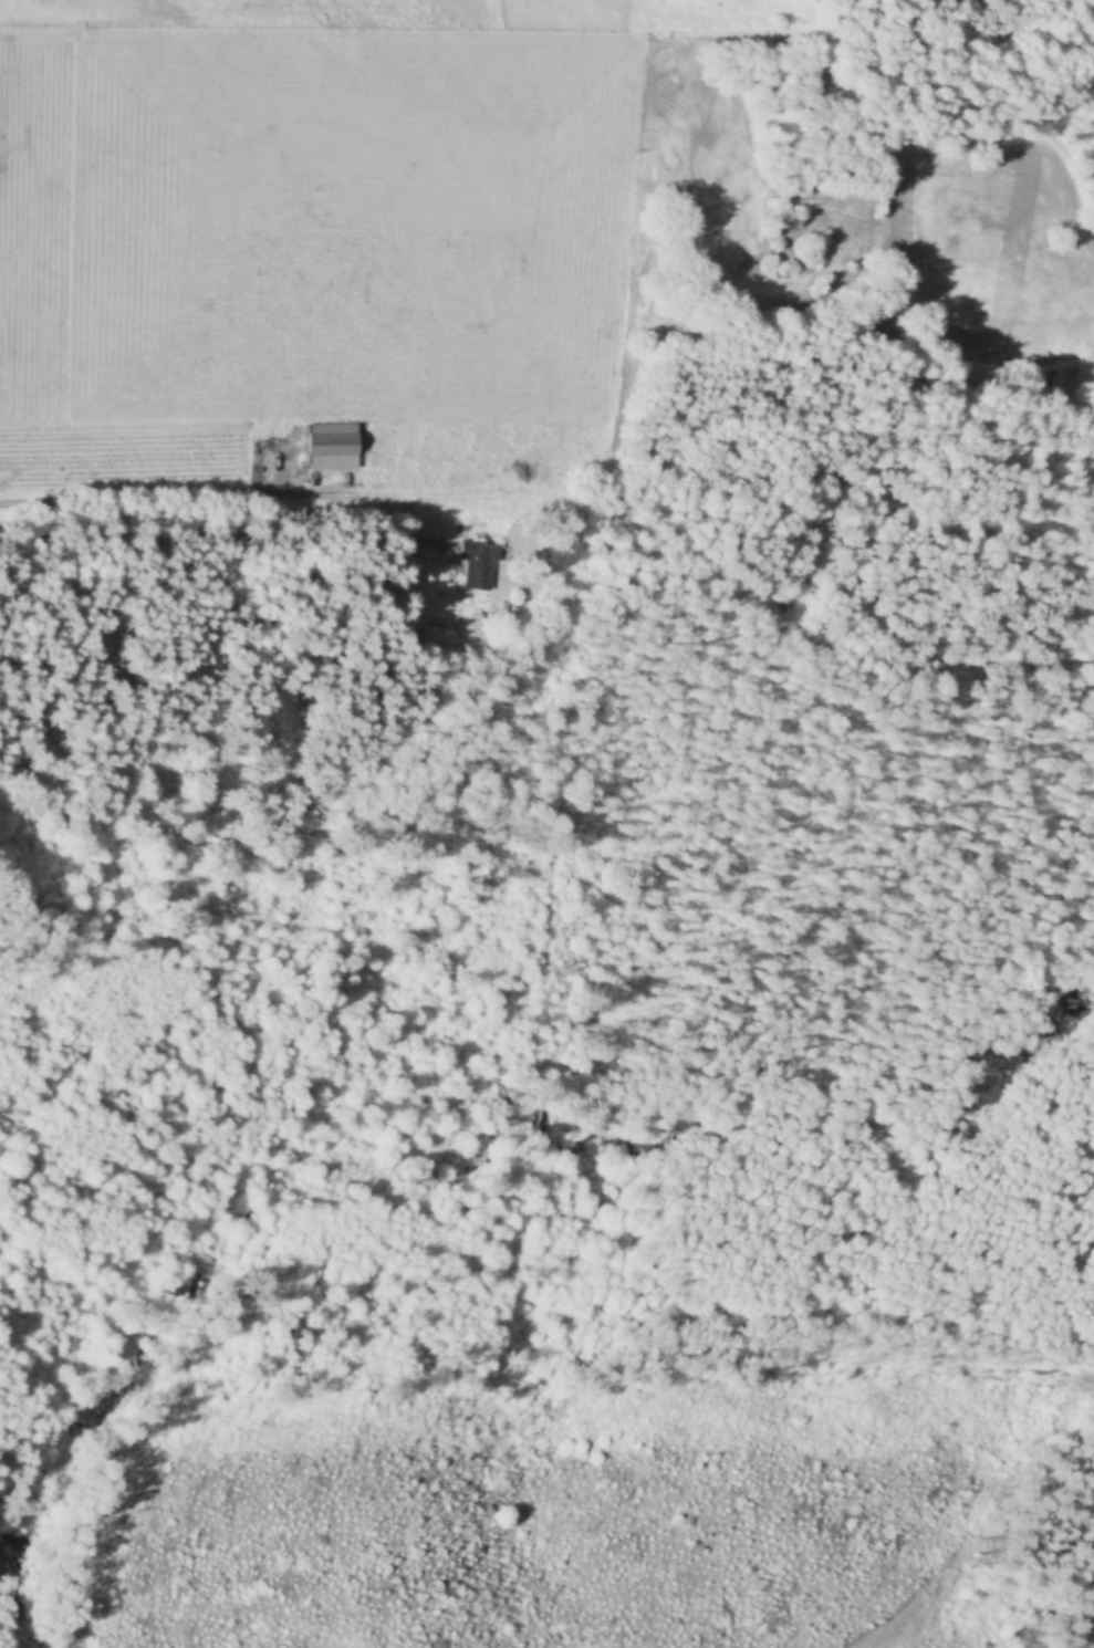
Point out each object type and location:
building: (330, 447)
building: (476, 565)
building: (435, 639)

